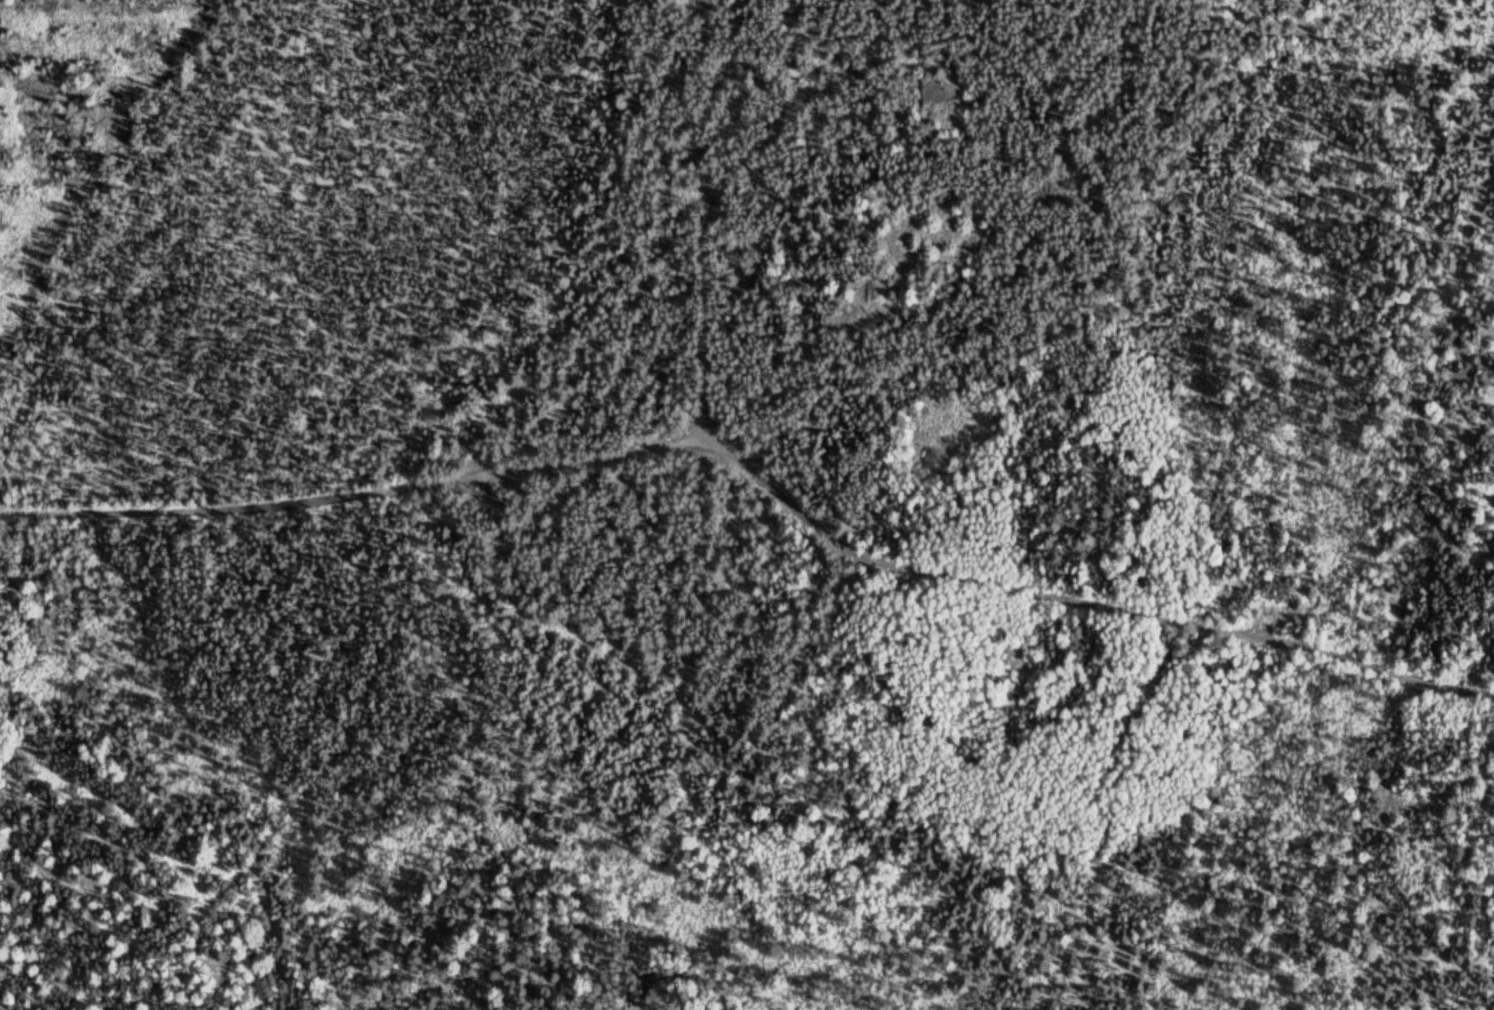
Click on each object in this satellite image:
road: (718, 195)
road: (759, 466)

